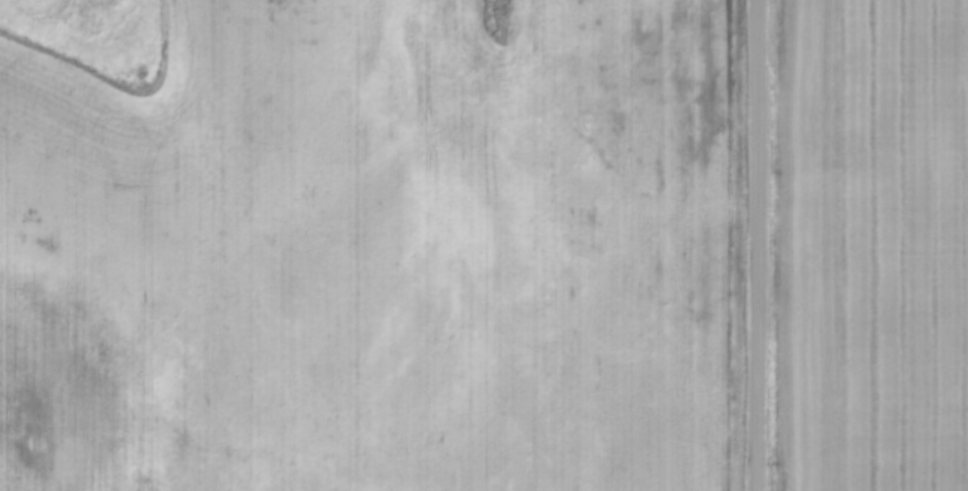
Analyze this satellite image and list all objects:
road: (757, 245)

